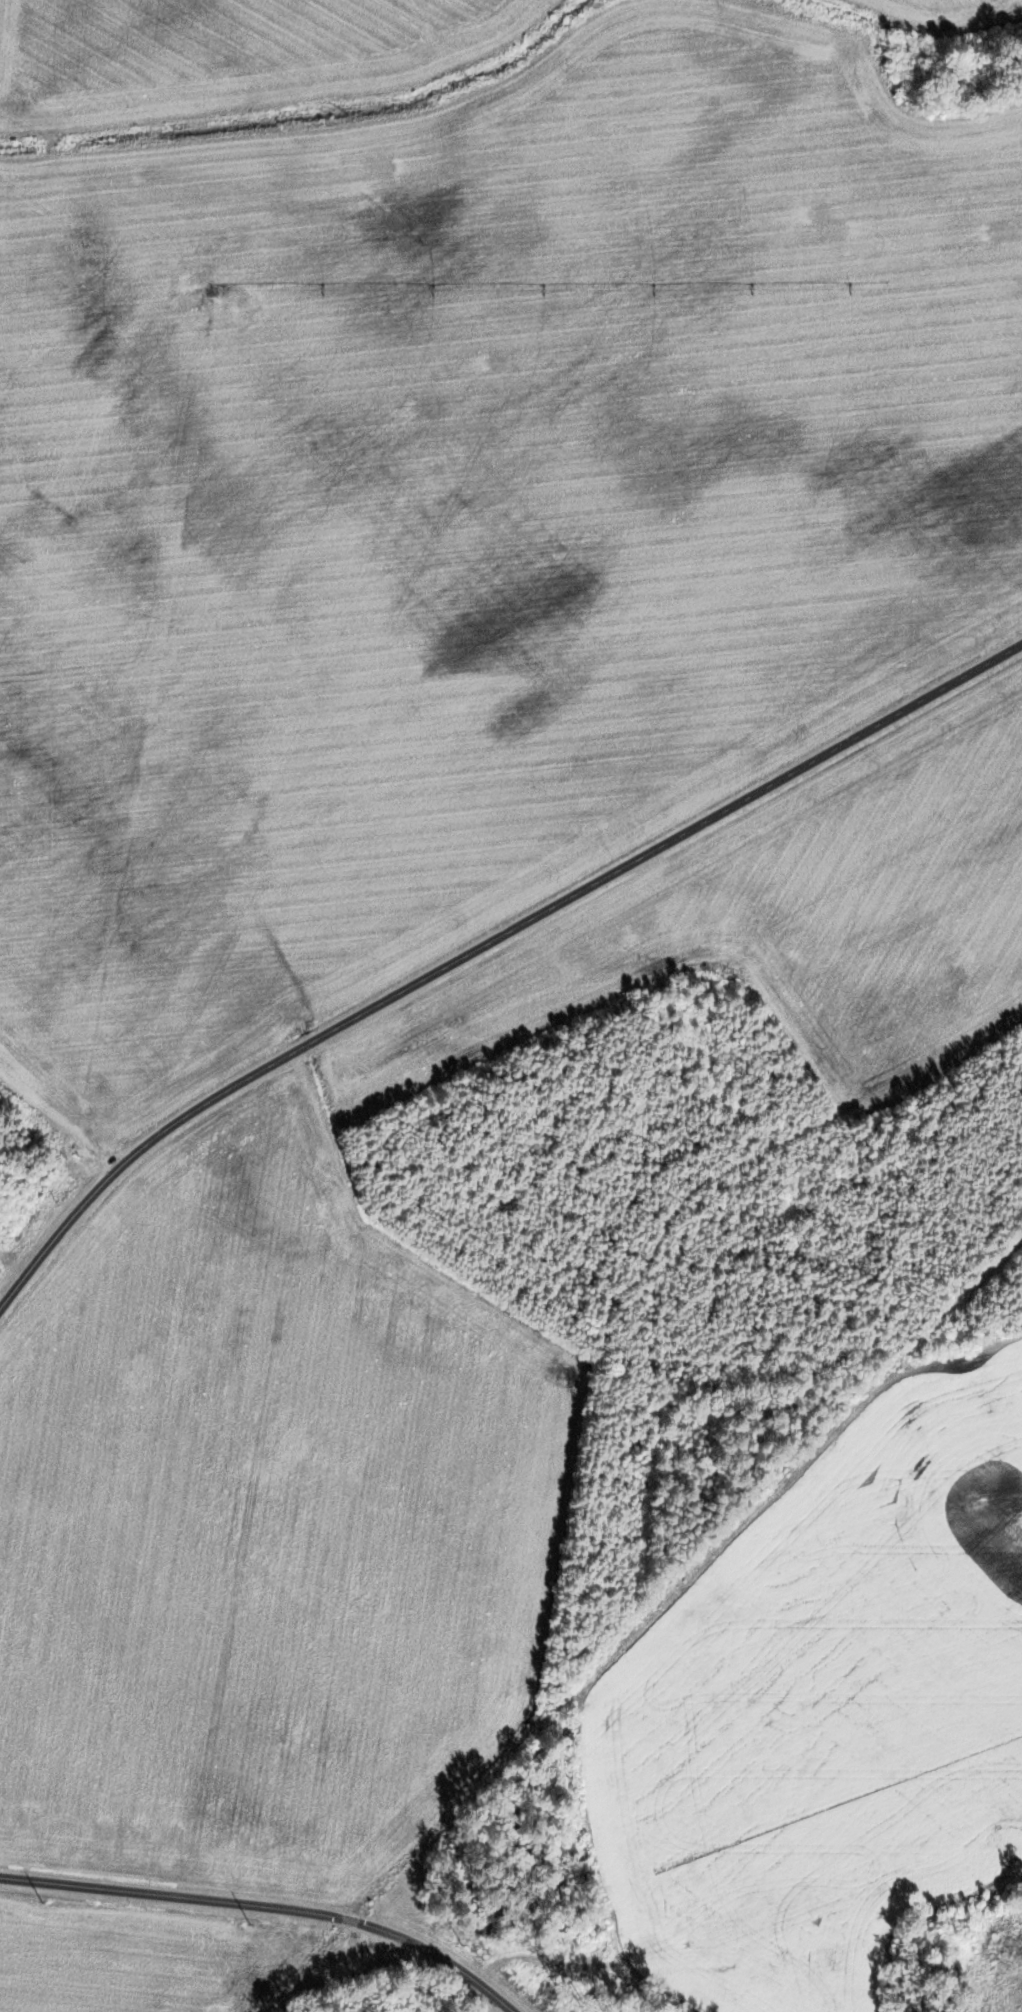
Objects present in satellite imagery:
road: (485, 945)
railway: (643, 1620)
road: (268, 1907)

